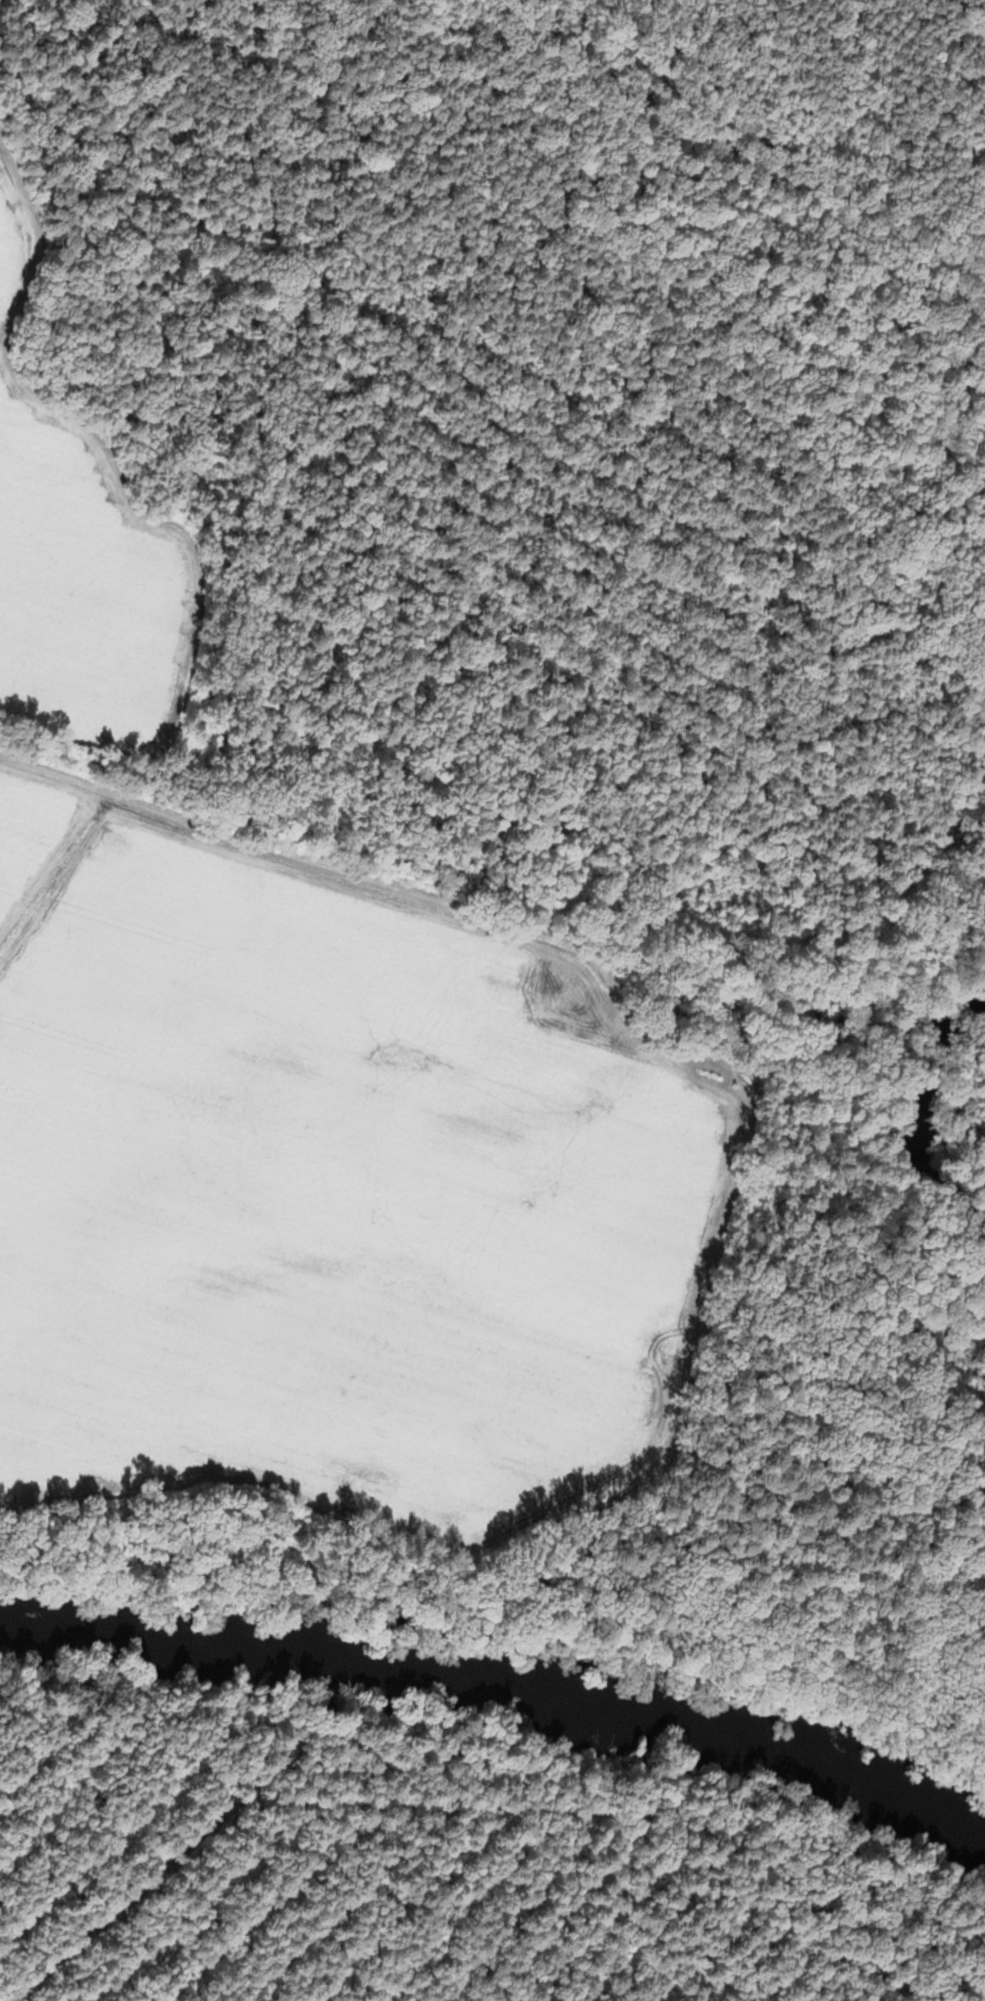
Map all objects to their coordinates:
road: (279, 846)
river: (506, 1686)

